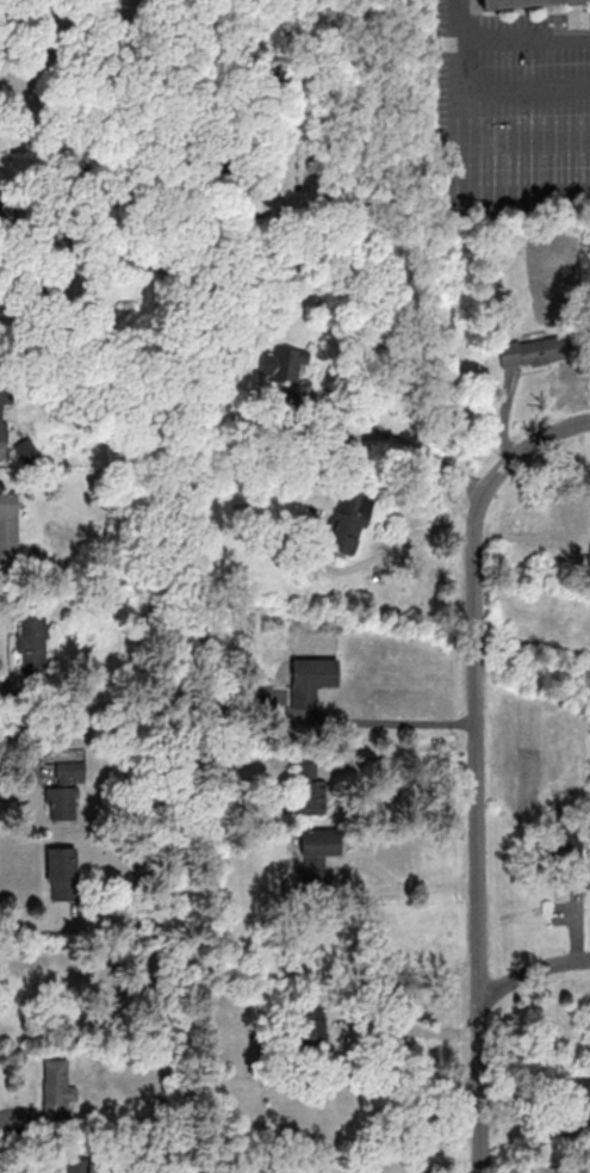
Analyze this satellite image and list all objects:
building: (523, 5)
road: (526, 38)
road: (526, 93)
road: (460, 147)
building: (308, 286)
building: (551, 348)
building: (281, 364)
building: (390, 381)
building: (2, 408)
road: (346, 439)
road: (493, 484)
building: (349, 521)
building: (8, 525)
road: (398, 547)
road: (473, 640)
building: (31, 642)
building: (310, 685)
road: (402, 721)
road: (410, 748)
road: (17, 766)
building: (310, 788)
building: (66, 792)
building: (317, 851)
building: (61, 872)
road: (372, 889)
road: (30, 924)
road: (479, 926)
building: (317, 951)
road: (532, 975)
road: (411, 1026)
building: (311, 1030)
building: (56, 1091)
building: (582, 1098)
road: (14, 1113)
building: (323, 1122)
building: (77, 1172)

